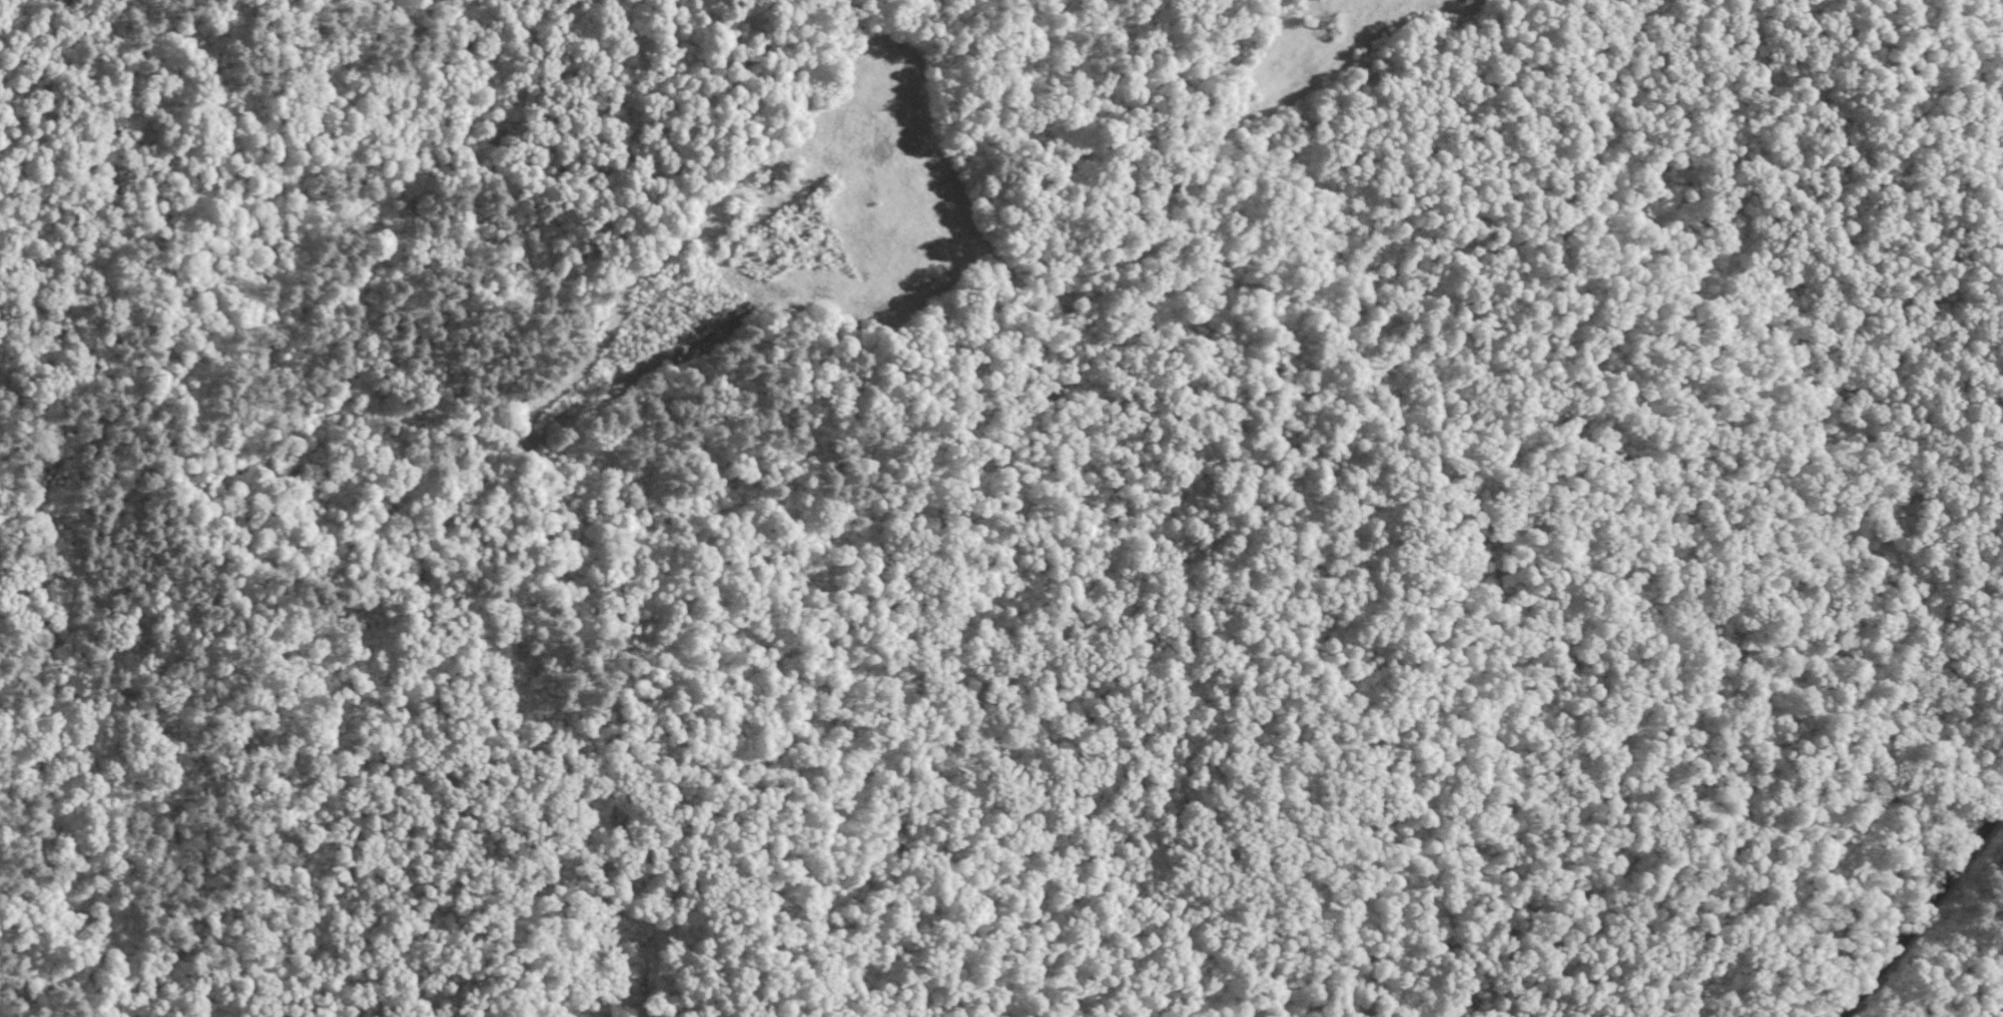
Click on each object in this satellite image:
road: (1921, 912)

